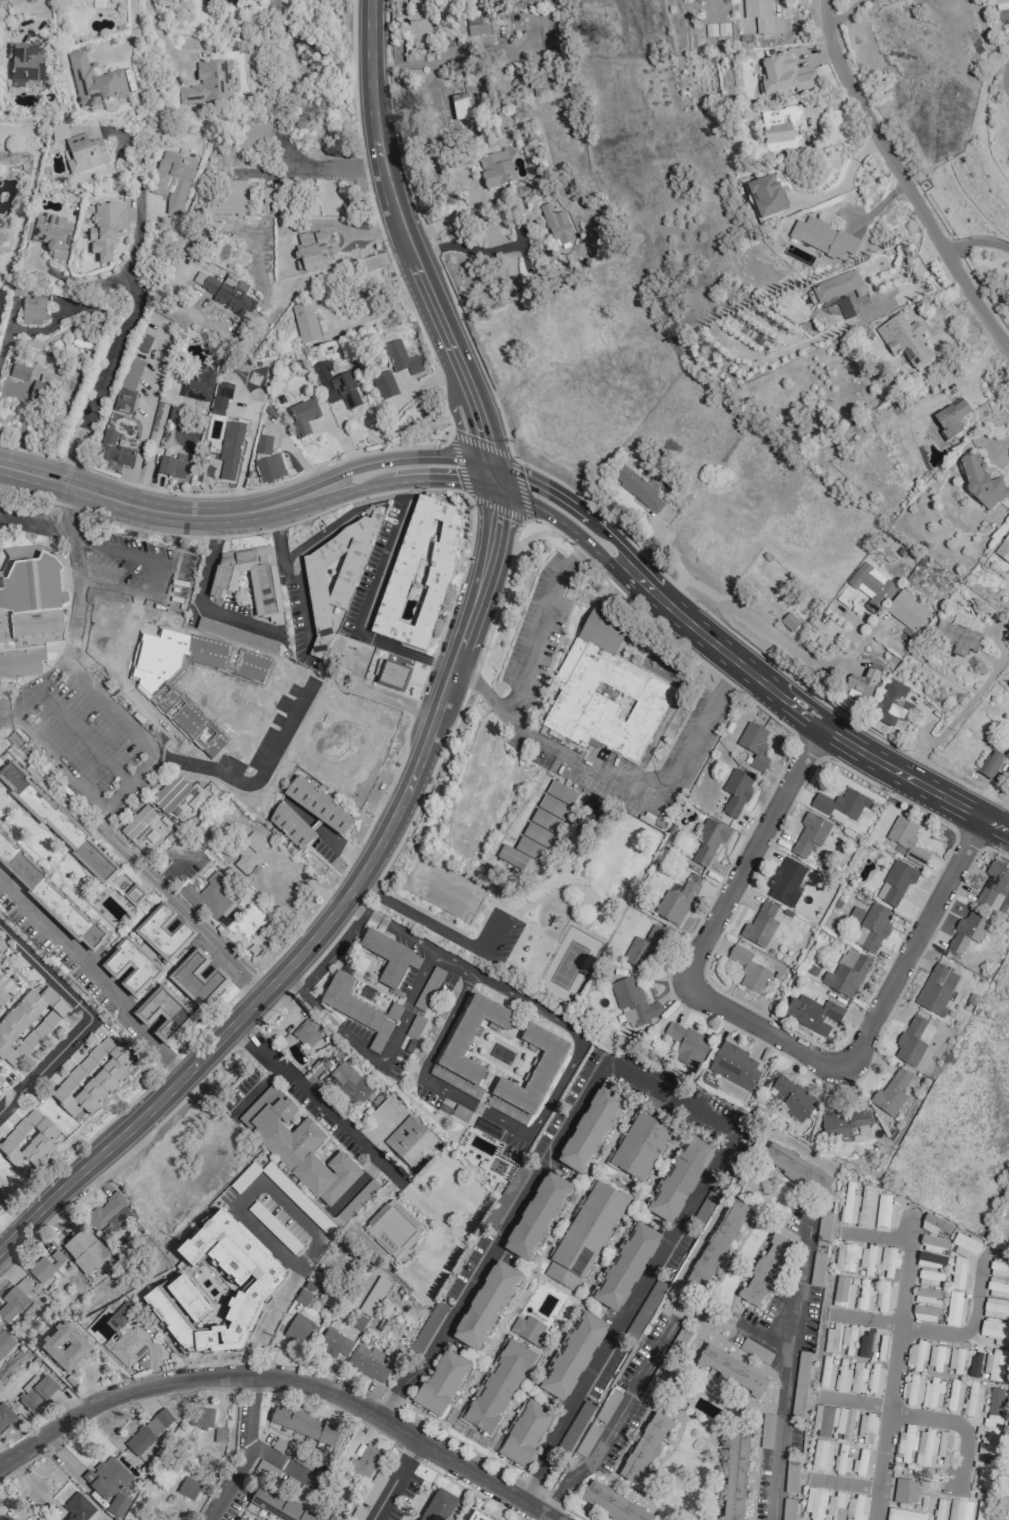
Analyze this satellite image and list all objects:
building: (1000, 5)
road: (41, 10)
road: (842, 10)
building: (758, 14)
building: (475, 25)
road: (156, 28)
building: (713, 33)
building: (421, 35)
road: (132, 38)
building: (26, 62)
building: (784, 76)
building: (94, 82)
building: (208, 84)
building: (470, 103)
building: (780, 129)
building: (250, 137)
building: (80, 151)
building: (496, 169)
road: (330, 172)
building: (172, 180)
road: (904, 180)
building: (226, 198)
building: (766, 198)
building: (556, 226)
building: (105, 229)
building: (50, 235)
building: (822, 239)
road: (976, 240)
road: (403, 244)
road: (472, 249)
road: (328, 270)
road: (87, 282)
building: (837, 287)
building: (226, 293)
building: (32, 312)
building: (304, 323)
road: (125, 324)
road: (31, 331)
building: (904, 340)
building: (142, 343)
building: (401, 358)
building: (20, 372)
building: (199, 384)
building: (127, 385)
building: (384, 385)
building: (336, 386)
building: (40, 388)
building: (220, 399)
building: (302, 417)
building: (951, 418)
road: (450, 437)
building: (262, 445)
building: (114, 450)
building: (230, 450)
building: (171, 468)
building: (269, 469)
traffic signals: (491, 477)
building: (982, 484)
building: (639, 489)
road: (246, 511)
road: (70, 512)
road: (31, 530)
road: (321, 535)
building: (1003, 550)
road: (290, 571)
building: (419, 573)
building: (334, 577)
road: (174, 579)
building: (249, 580)
building: (871, 587)
road: (198, 594)
building: (29, 610)
building: (906, 611)
road: (363, 613)
building: (789, 622)
road: (770, 633)
building: (956, 638)
road: (529, 650)
road: (741, 666)
building: (390, 676)
building: (862, 682)
road: (417, 692)
building: (605, 692)
road: (971, 699)
building: (892, 704)
building: (3, 709)
road: (706, 716)
road: (449, 727)
road: (525, 731)
road: (85, 739)
road: (34, 740)
building: (754, 745)
building: (1007, 753)
building: (949, 758)
building: (990, 764)
road: (138, 777)
road: (254, 780)
building: (736, 792)
building: (170, 794)
fountain: (664, 805)
building: (840, 805)
building: (318, 806)
building: (56, 823)
building: (137, 823)
building: (290, 827)
building: (539, 827)
building: (809, 834)
building: (905, 840)
building: (708, 841)
road: (341, 848)
building: (248, 853)
road: (302, 873)
park: (480, 874)
building: (785, 882)
building: (896, 883)
building: (993, 887)
building: (48, 897)
building: (208, 897)
building: (676, 904)
road: (332, 913)
road: (432, 926)
building: (760, 926)
road: (386, 927)
building: (872, 928)
building: (966, 932)
building: (163, 933)
building: (2, 947)
building: (644, 948)
building: (389, 957)
building: (0, 960)
road: (454, 962)
building: (113, 968)
building: (749, 971)
road: (44, 973)
building: (846, 974)
building: (197, 979)
road: (89, 981)
building: (936, 990)
building: (3, 997)
building: (633, 1002)
building: (359, 1010)
building: (812, 1011)
building: (164, 1015)
building: (28, 1024)
road: (762, 1026)
building: (306, 1032)
building: (912, 1042)
building: (686, 1044)
building: (468, 1045)
road: (376, 1060)
road: (44, 1063)
building: (545, 1064)
building: (734, 1066)
building: (92, 1079)
building: (349, 1082)
building: (891, 1093)
road: (669, 1097)
building: (793, 1098)
road: (310, 1099)
building: (460, 1113)
building: (843, 1125)
building: (590, 1129)
road: (527, 1132)
building: (28, 1142)
building: (409, 1142)
building: (640, 1145)
building: (297, 1146)
building: (796, 1169)
building: (680, 1179)
building: (1, 1187)
road: (255, 1190)
building: (506, 1196)
building: (1, 1202)
building: (356, 1202)
building: (848, 1204)
building: (866, 1207)
building: (105, 1211)
building: (884, 1213)
building: (537, 1217)
building: (934, 1225)
building: (392, 1229)
building: (584, 1236)
road: (876, 1237)
building: (932, 1244)
building: (965, 1246)
building: (195, 1247)
building: (710, 1249)
building: (84, 1251)
building: (845, 1258)
building: (868, 1259)
building: (930, 1260)
building: (888, 1261)
building: (48, 1267)
building: (625, 1267)
building: (999, 1267)
building: (764, 1272)
building: (959, 1274)
building: (929, 1278)
building: (997, 1288)
road: (285, 1290)
building: (842, 1293)
building: (374, 1295)
building: (865, 1295)
building: (303, 1296)
building: (927, 1296)
building: (885, 1299)
building: (187, 1300)
building: (14, 1301)
building: (486, 1305)
building: (995, 1308)
building: (645, 1309)
building: (955, 1309)
building: (924, 1313)
building: (119, 1317)
building: (239, 1319)
road: (868, 1321)
building: (427, 1328)
road: (968, 1328)
building: (300, 1330)
building: (529, 1330)
building: (995, 1332)
road: (764, 1337)
building: (832, 1339)
building: (5, 1342)
building: (333, 1344)
building: (864, 1345)
building: (126, 1346)
road: (258, 1347)
building: (65, 1349)
building: (916, 1355)
building: (572, 1356)
building: (937, 1357)
building: (956, 1360)
building: (367, 1363)
building: (994, 1365)
building: (974, 1366)
road: (895, 1369)
building: (732, 1371)
road: (286, 1377)
building: (842, 1377)
road: (785, 1379)
building: (858, 1379)
building: (875, 1381)
building: (440, 1383)
building: (498, 1386)
building: (913, 1390)
building: (36, 1393)
building: (932, 1393)
building: (954, 1395)
building: (973, 1397)
building: (994, 1407)
building: (5, 1417)
building: (200, 1417)
road: (923, 1418)
building: (158, 1422)
road: (614, 1422)
building: (832, 1422)
building: (304, 1425)
building: (866, 1428)
building: (524, 1433)
building: (219, 1435)
building: (139, 1441)
building: (986, 1441)
building: (905, 1444)
building: (945, 1446)
building: (644, 1448)
building: (925, 1448)
road: (246, 1452)
building: (821, 1456)
building: (841, 1460)
building: (861, 1463)
building: (362, 1464)
building: (735, 1476)
building: (983, 1476)
road: (394, 1479)
building: (1005, 1483)
building: (109, 1484)
road: (845, 1485)
building: (188, 1488)
building: (905, 1491)
building: (814, 1503)
building: (612, 1504)
building: (434, 1505)
building: (277, 1506)
building: (835, 1507)
building: (77, 1508)
building: (855, 1508)
building: (940, 1509)
building: (960, 1510)
building: (981, 1510)
building: (903, 1515)
building: (475, 1517)
building: (238, 1519)

